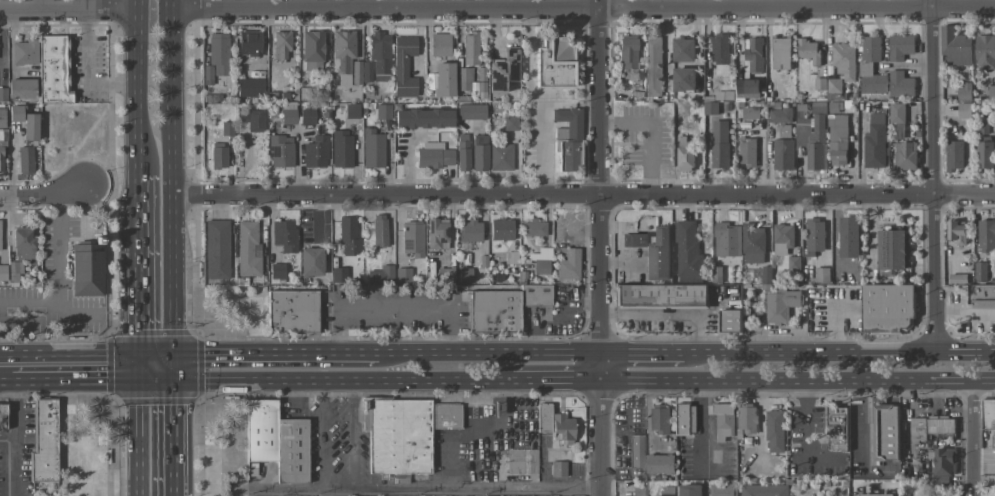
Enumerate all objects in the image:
road: (86, 4)
road: (583, 6)
road: (69, 9)
building: (247, 43)
building: (280, 43)
building: (438, 44)
building: (899, 46)
building: (954, 46)
building: (469, 48)
building: (719, 48)
building: (682, 49)
building: (310, 50)
building: (807, 50)
building: (780, 51)
building: (985, 51)
building: (24, 52)
building: (217, 53)
building: (753, 54)
building: (342, 55)
building: (378, 55)
building: (628, 57)
building: (843, 60)
building: (551, 62)
building: (652, 65)
building: (402, 66)
building: (870, 66)
building: (54, 70)
building: (501, 70)
building: (365, 71)
building: (355, 72)
building: (205, 74)
building: (683, 78)
building: (441, 79)
building: (462, 79)
building: (819, 84)
building: (900, 84)
road: (139, 86)
building: (249, 87)
building: (746, 88)
building: (22, 89)
building: (832, 89)
building: (964, 92)
building: (991, 92)
building: (3, 94)
building: (834, 106)
building: (709, 107)
building: (963, 110)
building: (350, 111)
building: (382, 111)
building: (470, 111)
building: (287, 113)
building: (748, 113)
building: (896, 113)
building: (16, 114)
building: (306, 114)
building: (780, 115)
building: (2, 118)
building: (249, 118)
building: (421, 118)
building: (508, 123)
building: (31, 127)
road: (172, 127)
building: (994, 127)
building: (226, 128)
building: (784, 130)
building: (811, 134)
building: (837, 138)
building: (566, 139)
building: (874, 141)
building: (719, 144)
building: (371, 148)
building: (340, 149)
building: (279, 150)
building: (314, 151)
building: (747, 151)
building: (460, 152)
building: (477, 152)
building: (2, 153)
building: (684, 154)
building: (782, 154)
building: (984, 154)
building: (216, 155)
building: (432, 155)
building: (905, 155)
building: (953, 155)
building: (499, 157)
building: (25, 160)
road: (598, 175)
road: (933, 175)
road: (139, 184)
road: (583, 193)
road: (42, 194)
road: (139, 222)
building: (532, 227)
building: (499, 228)
building: (377, 229)
building: (468, 229)
building: (956, 231)
building: (435, 232)
building: (283, 236)
building: (347, 236)
road: (835, 236)
building: (849, 236)
building: (986, 236)
building: (411, 237)
building: (813, 237)
building: (782, 238)
building: (0, 239)
building: (726, 239)
building: (633, 240)
building: (24, 243)
building: (752, 243)
building: (215, 249)
building: (246, 249)
building: (891, 249)
building: (687, 251)
building: (659, 254)
building: (510, 257)
road: (622, 260)
building: (309, 261)
building: (794, 263)
building: (567, 264)
building: (540, 266)
building: (382, 267)
building: (89, 269)
building: (275, 270)
building: (980, 271)
building: (3, 272)
building: (14, 272)
building: (337, 273)
building: (401, 274)
building: (444, 274)
building: (463, 274)
building: (821, 274)
road: (58, 275)
building: (716, 275)
building: (766, 276)
building: (534, 294)
building: (660, 296)
building: (981, 296)
building: (781, 305)
road: (391, 308)
building: (886, 308)
road: (139, 310)
building: (292, 311)
building: (493, 311)
road: (171, 312)
road: (964, 314)
road: (664, 316)
road: (555, 317)
road: (38, 321)
building: (728, 321)
road: (835, 328)
road: (479, 352)
road: (632, 352)
road: (830, 352)
road: (263, 354)
road: (80, 369)
traffic signals: (140, 369)
road: (155, 369)
traffic signals: (170, 369)
road: (10, 370)
road: (347, 379)
road: (563, 380)
road: (797, 381)
building: (3, 416)
building: (988, 416)
building: (542, 417)
building: (747, 417)
building: (660, 418)
building: (684, 418)
building: (723, 419)
road: (866, 422)
road: (599, 424)
road: (705, 425)
building: (836, 426)
building: (930, 426)
building: (560, 428)
building: (774, 430)
building: (885, 431)
road: (19, 432)
road: (139, 432)
road: (170, 432)
building: (404, 432)
road: (322, 433)
road: (353, 433)
road: (9, 434)
road: (477, 434)
road: (972, 438)
road: (805, 439)
building: (275, 440)
building: (43, 443)
road: (108, 447)
road: (200, 447)
building: (634, 450)
building: (520, 460)
building: (943, 461)
building: (659, 463)
building: (557, 468)
road: (983, 480)
road: (414, 488)
building: (723, 488)
building: (637, 490)
building: (689, 490)
building: (763, 490)
building: (667, 491)
building: (876, 494)
building: (992, 495)

